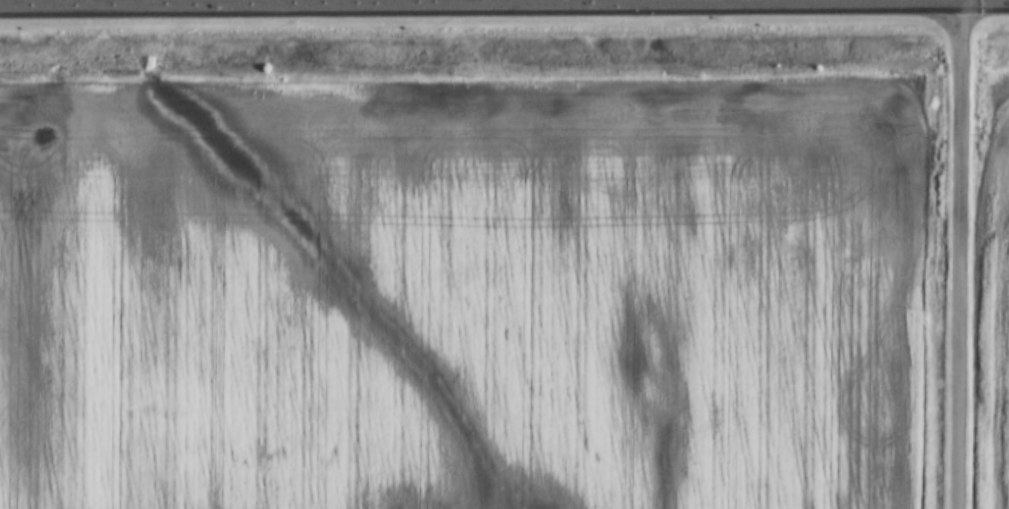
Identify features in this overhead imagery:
road: (963, 254)

